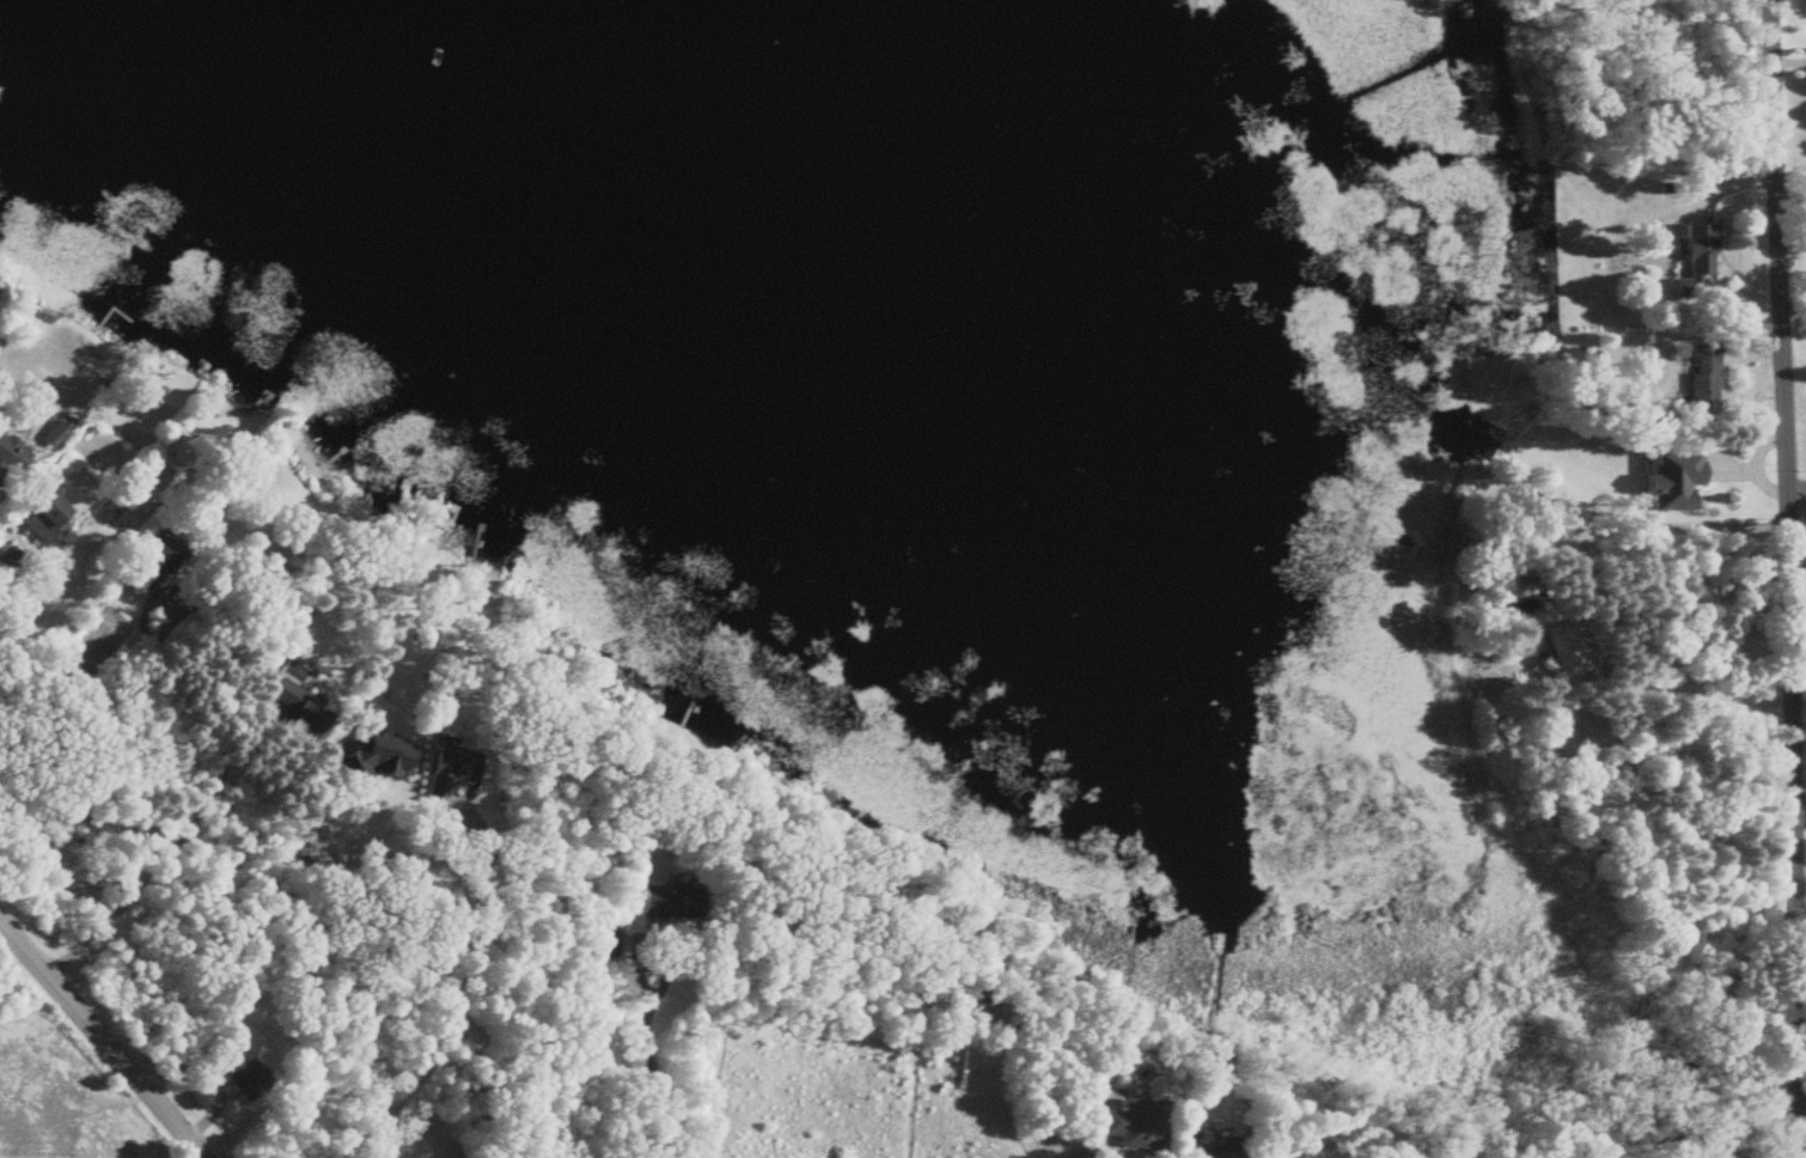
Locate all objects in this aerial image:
building: (1691, 262)
building: (1698, 379)
building: (61, 435)
building: (13, 456)
building: (1666, 479)
building: (51, 520)
road: (1673, 528)
building: (157, 566)
road: (1784, 579)
building: (1563, 651)
building: (301, 707)
road: (91, 724)
road: (460, 823)
road: (150, 877)
building: (673, 902)
road: (652, 943)
building: (604, 944)
road: (310, 953)
road: (447, 1042)
road: (100, 1046)
building: (221, 1058)
building: (251, 1081)
road: (652, 1089)
building: (1133, 1125)
building: (1207, 1150)

